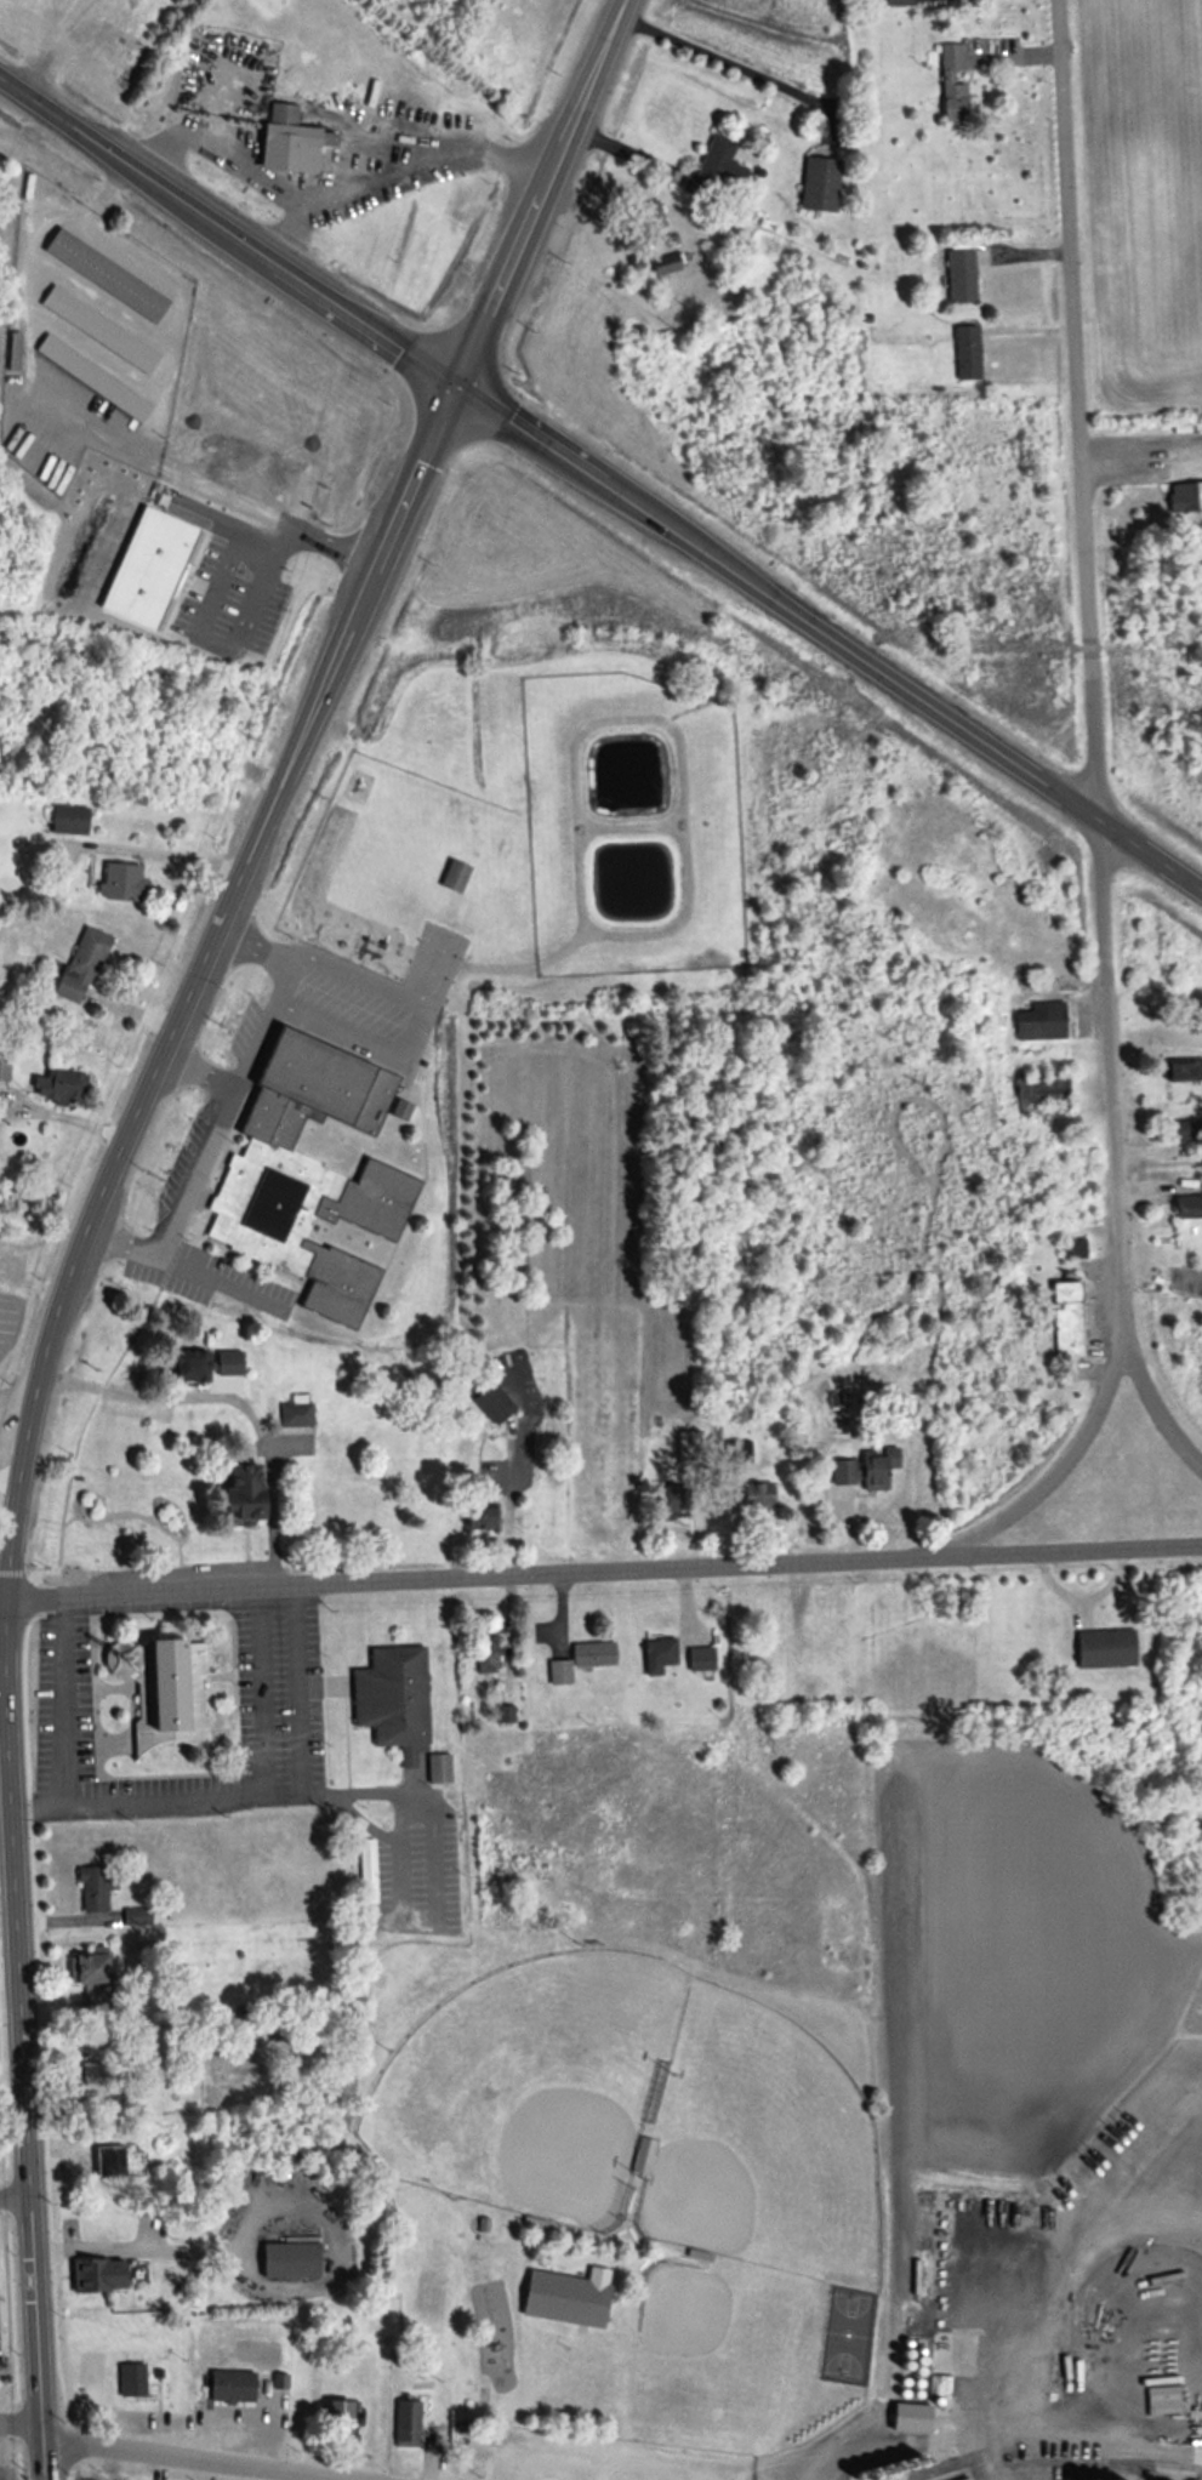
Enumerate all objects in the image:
building: (898, 2)
road: (717, 58)
building: (951, 85)
building: (289, 139)
road: (414, 150)
road: (239, 161)
building: (718, 167)
building: (819, 183)
road: (536, 187)
building: (649, 216)
road: (228, 223)
building: (666, 263)
building: (104, 274)
building: (959, 275)
building: (97, 329)
building: (965, 353)
building: (91, 377)
road: (84, 421)
building: (1187, 496)
road: (243, 513)
road: (827, 638)
building: (68, 820)
road: (1093, 828)
road: (166, 849)
building: (454, 877)
building: (119, 882)
building: (80, 965)
road: (195, 977)
building: (1039, 1022)
building: (4, 1066)
road: (198, 1068)
building: (1183, 1071)
building: (58, 1087)
building: (1039, 1095)
road: (222, 1106)
building: (307, 1174)
building: (1187, 1207)
building: (1072, 1249)
building: (1066, 1321)
building: (190, 1368)
road: (237, 1398)
building: (492, 1401)
road: (1149, 1402)
building: (295, 1415)
building: (739, 1453)
building: (876, 1469)
building: (842, 1472)
building: (239, 1494)
building: (756, 1496)
building: (672, 1503)
road: (501, 1504)
building: (478, 1513)
road: (603, 1573)
road: (2, 1600)
building: (1105, 1648)
building: (486, 1654)
building: (657, 1655)
building: (580, 1660)
building: (700, 1660)
building: (161, 1689)
road: (57, 1700)
building: (392, 1700)
road: (246, 1791)
building: (366, 1872)
building: (92, 1889)
building: (91, 1983)
road: (19, 2039)
park: (531, 2090)
park: (757, 2151)
building: (113, 2160)
road: (13, 2197)
building: (289, 2259)
building: (98, 2277)
building: (564, 2301)
park: (745, 2353)
building: (130, 2381)
building: (229, 2388)
building: (336, 2415)
building: (908, 2419)
building: (405, 2424)
road: (171, 2453)
railway: (1064, 2462)
railway: (1111, 2469)
building: (963, 2479)

